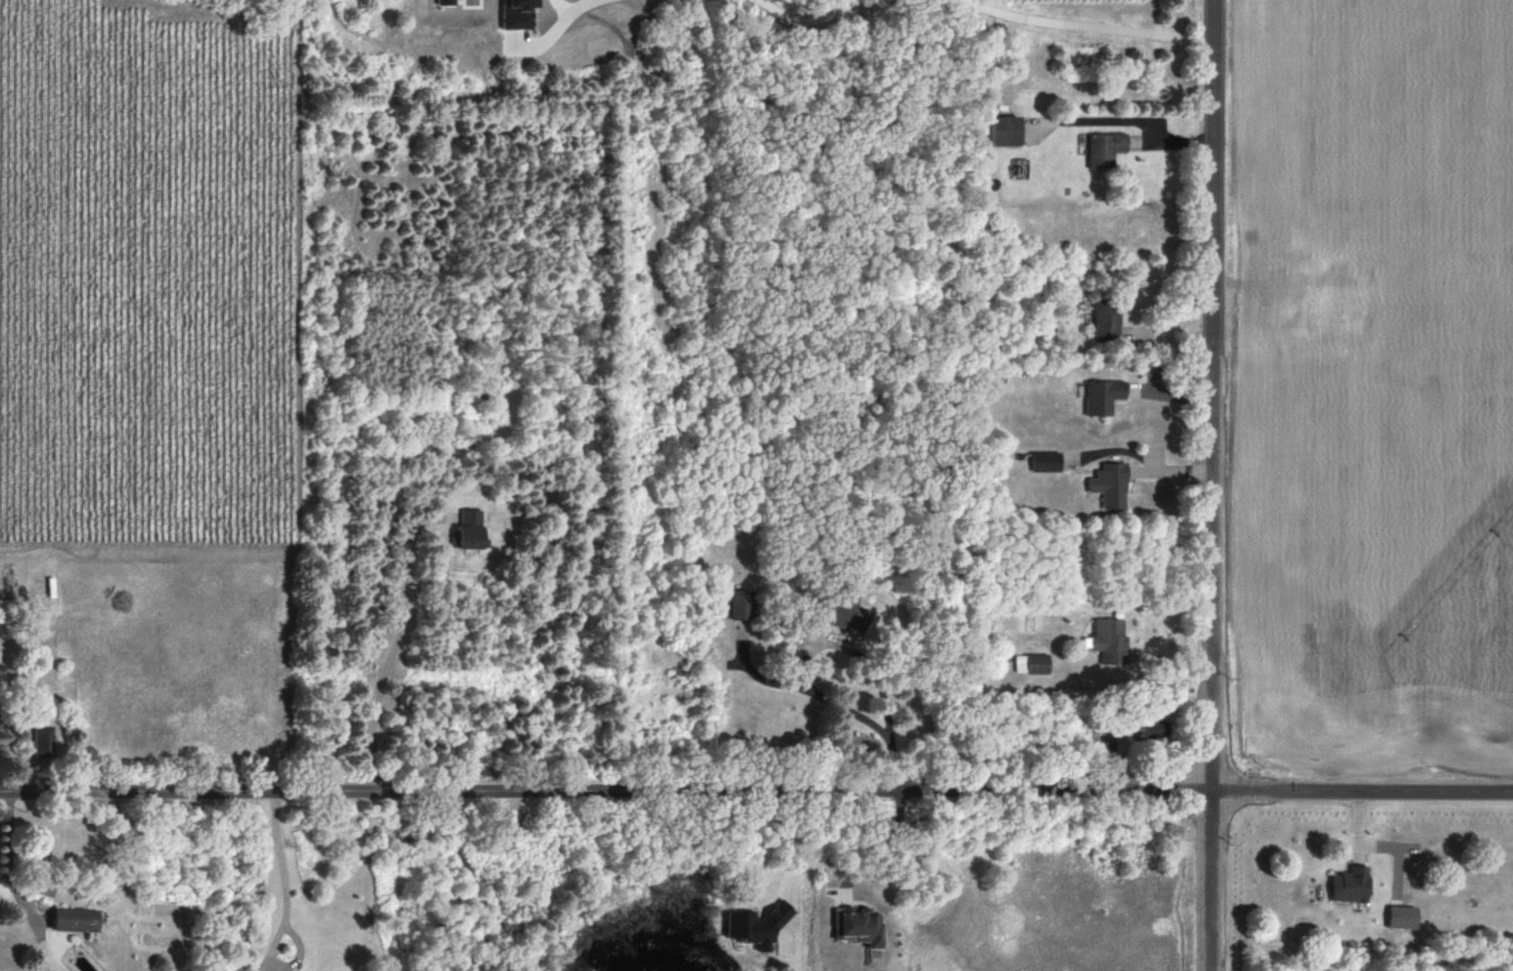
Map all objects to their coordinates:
road: (1140, 120)
building: (1005, 129)
building: (1102, 148)
building: (1106, 319)
crop: (1382, 355)
building: (1103, 395)
building: (1046, 459)
building: (1110, 483)
road: (1213, 485)
building: (471, 529)
building: (742, 603)
building: (5, 608)
building: (854, 615)
building: (1109, 640)
road: (397, 645)
building: (1032, 662)
road: (802, 668)
building: (43, 740)
road: (756, 788)
road: (786, 846)
road: (10, 852)
building: (1349, 883)
road: (280, 911)
building: (1402, 915)
building: (75, 918)
building: (758, 923)
road: (1223, 966)

